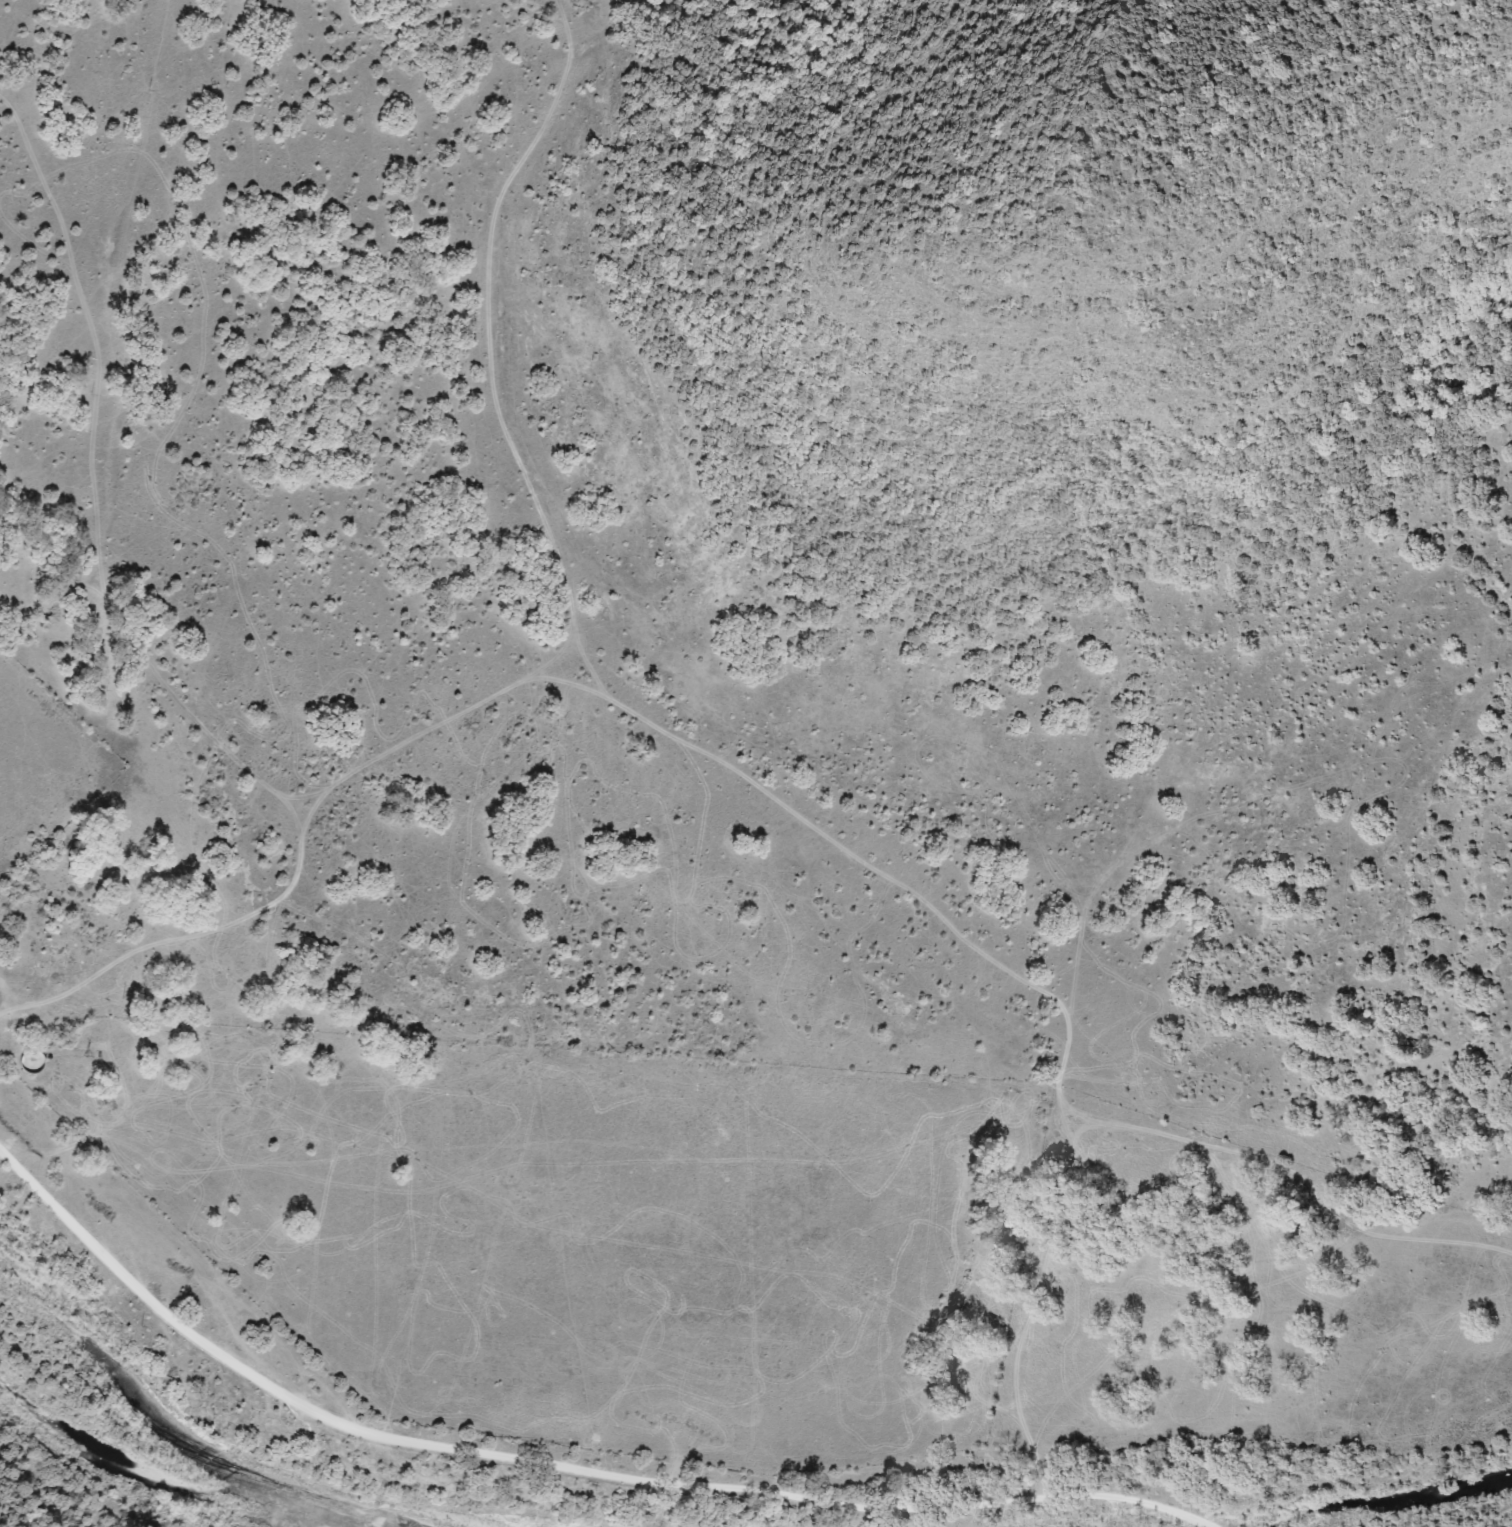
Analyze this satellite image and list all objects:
road: (1079, 1034)
road: (577, 1432)
river: (153, 1473)
river: (1401, 1496)
river: (1282, 1519)

